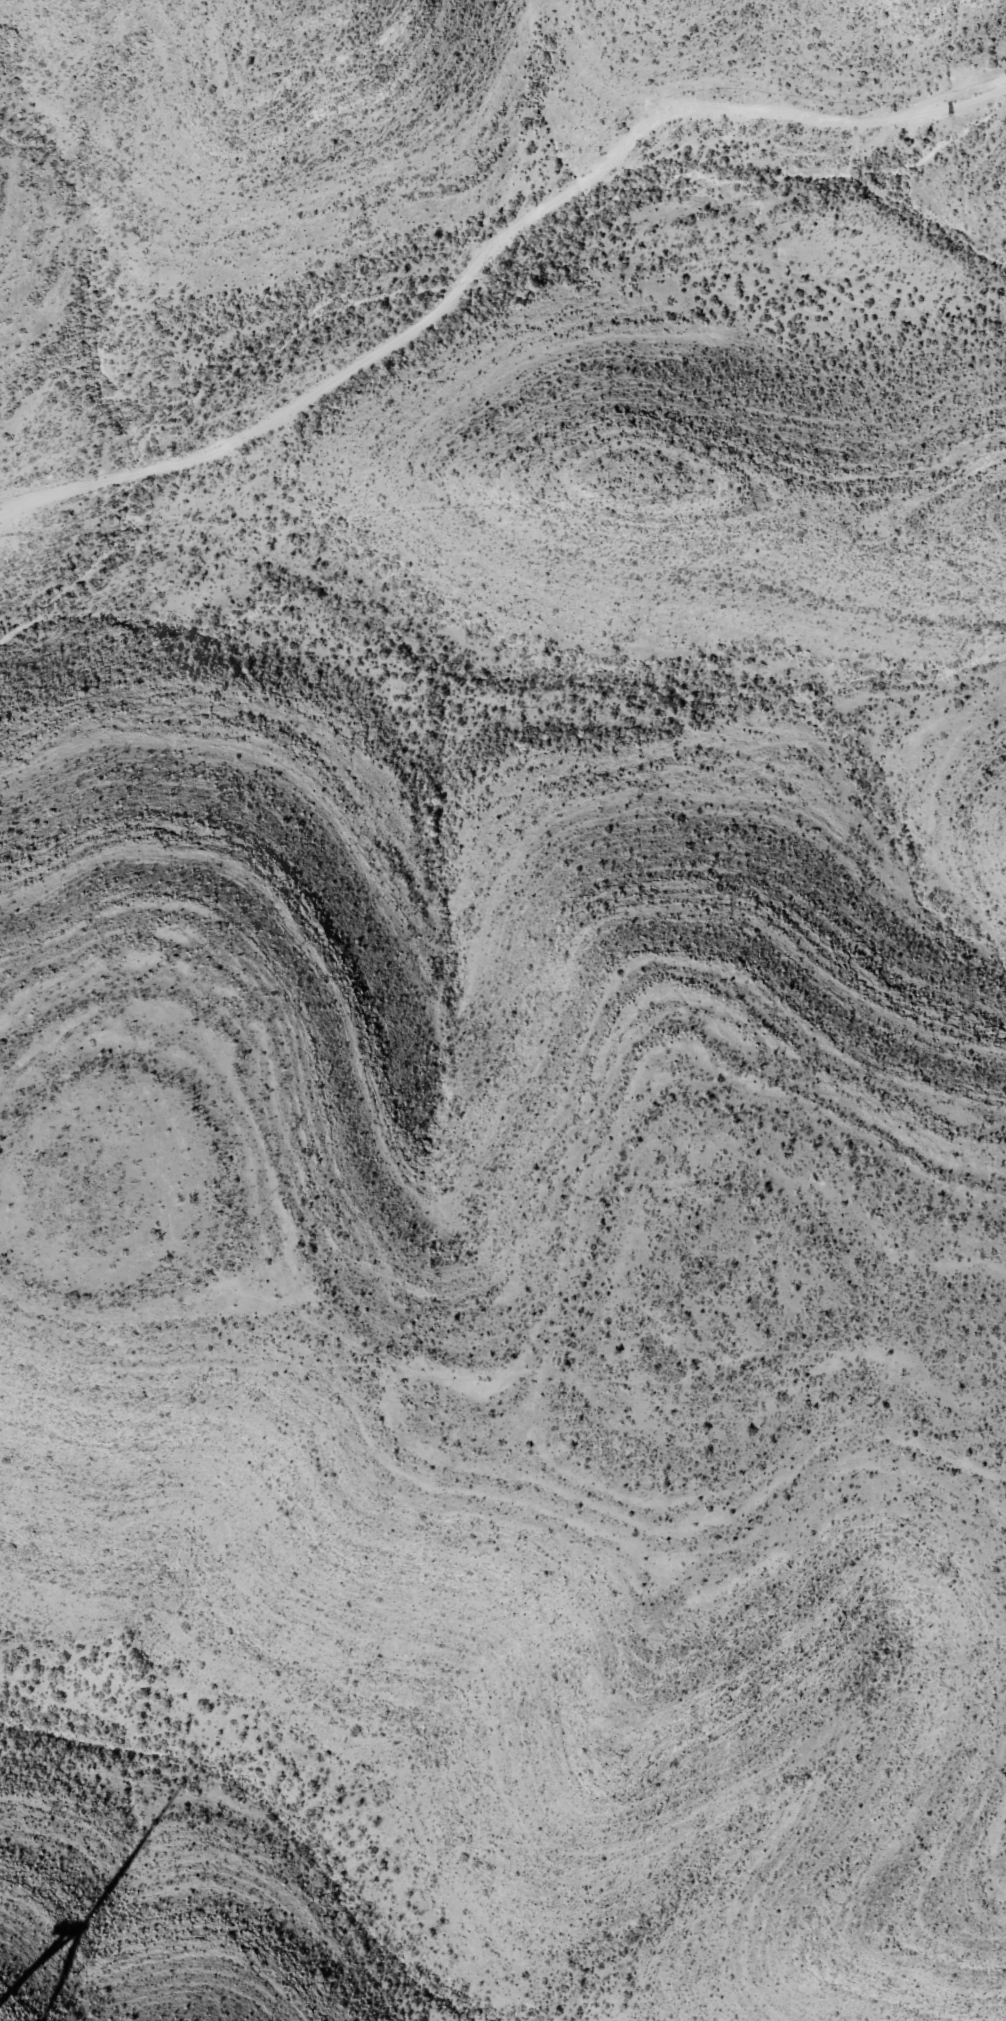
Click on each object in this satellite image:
road: (493, 260)

